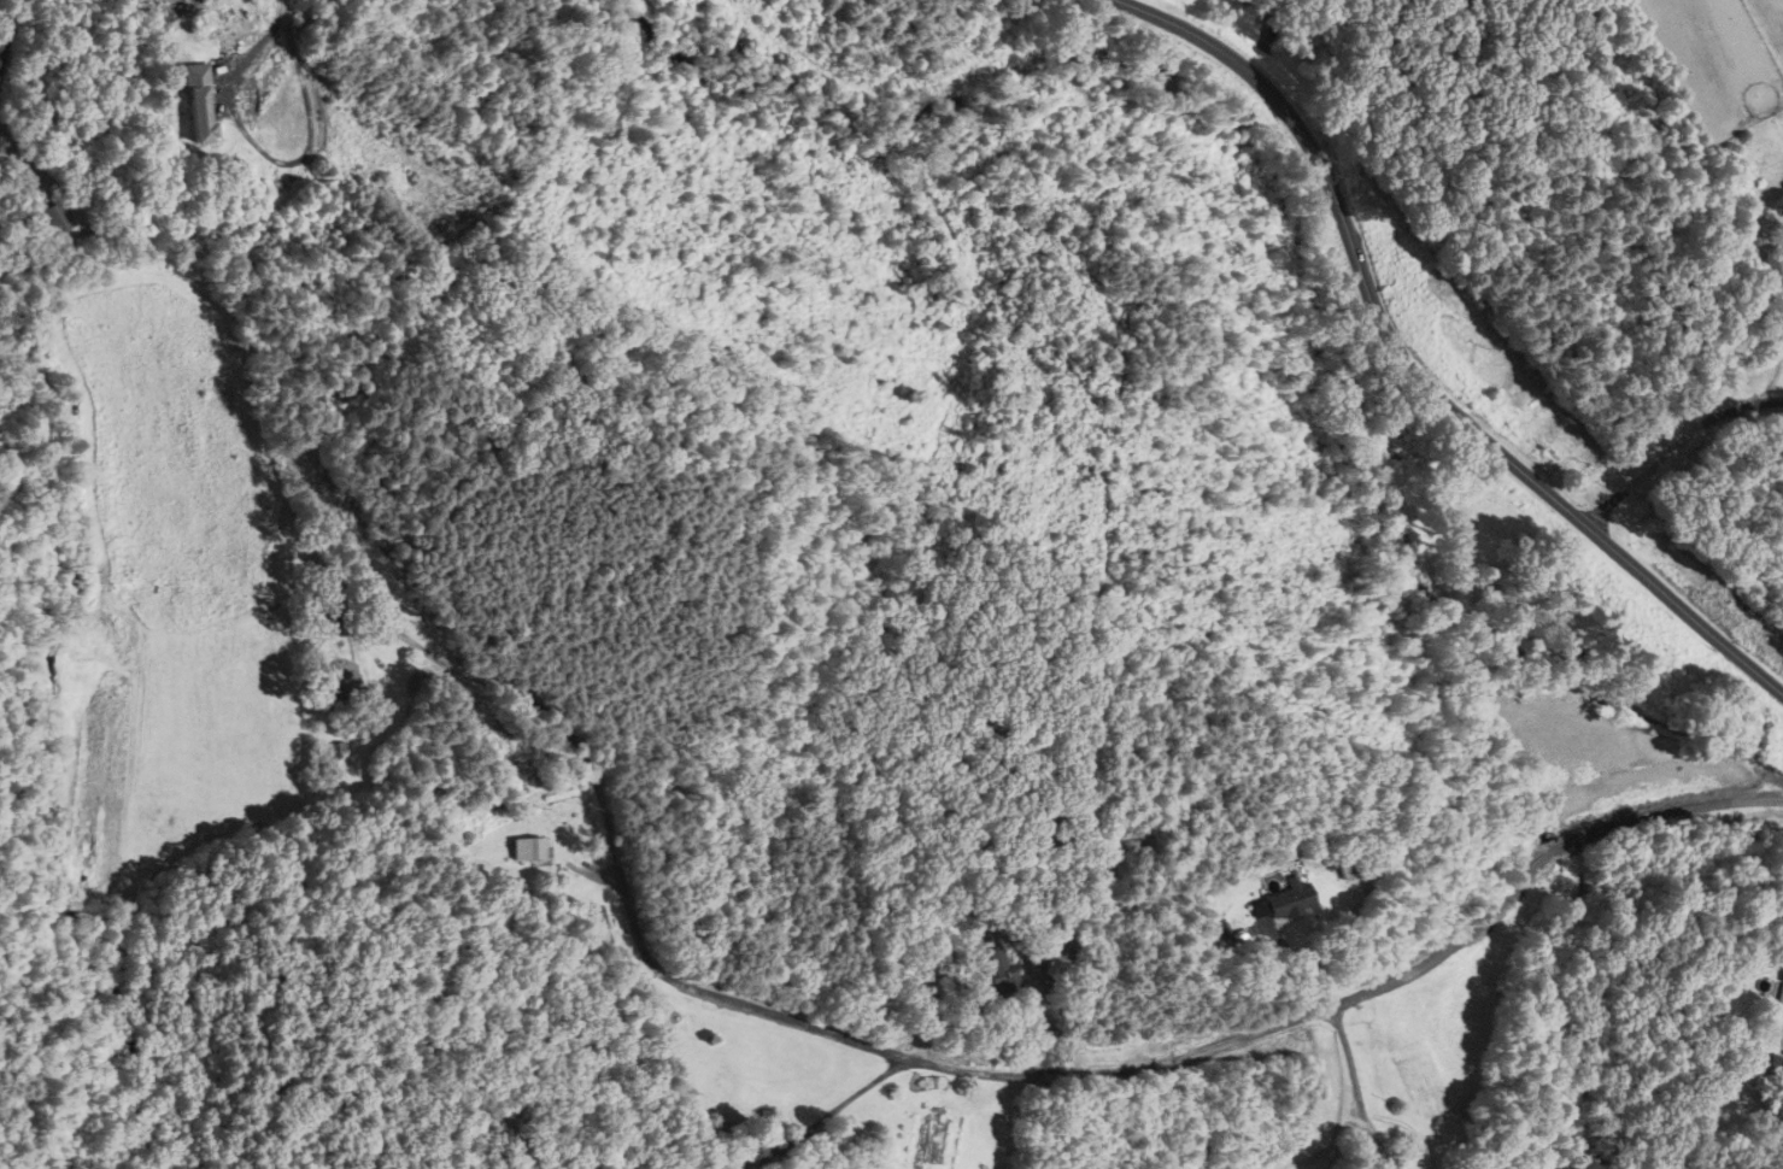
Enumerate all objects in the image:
road: (8, 29)
road: (263, 40)
building: (199, 102)
building: (54, 221)
building: (1773, 264)
road: (1407, 368)
road: (1689, 431)
building: (342, 683)
building: (524, 850)
building: (1283, 901)
building: (999, 982)
building: (1778, 998)
road: (1210, 1047)
road: (1355, 1085)
road: (828, 1115)

